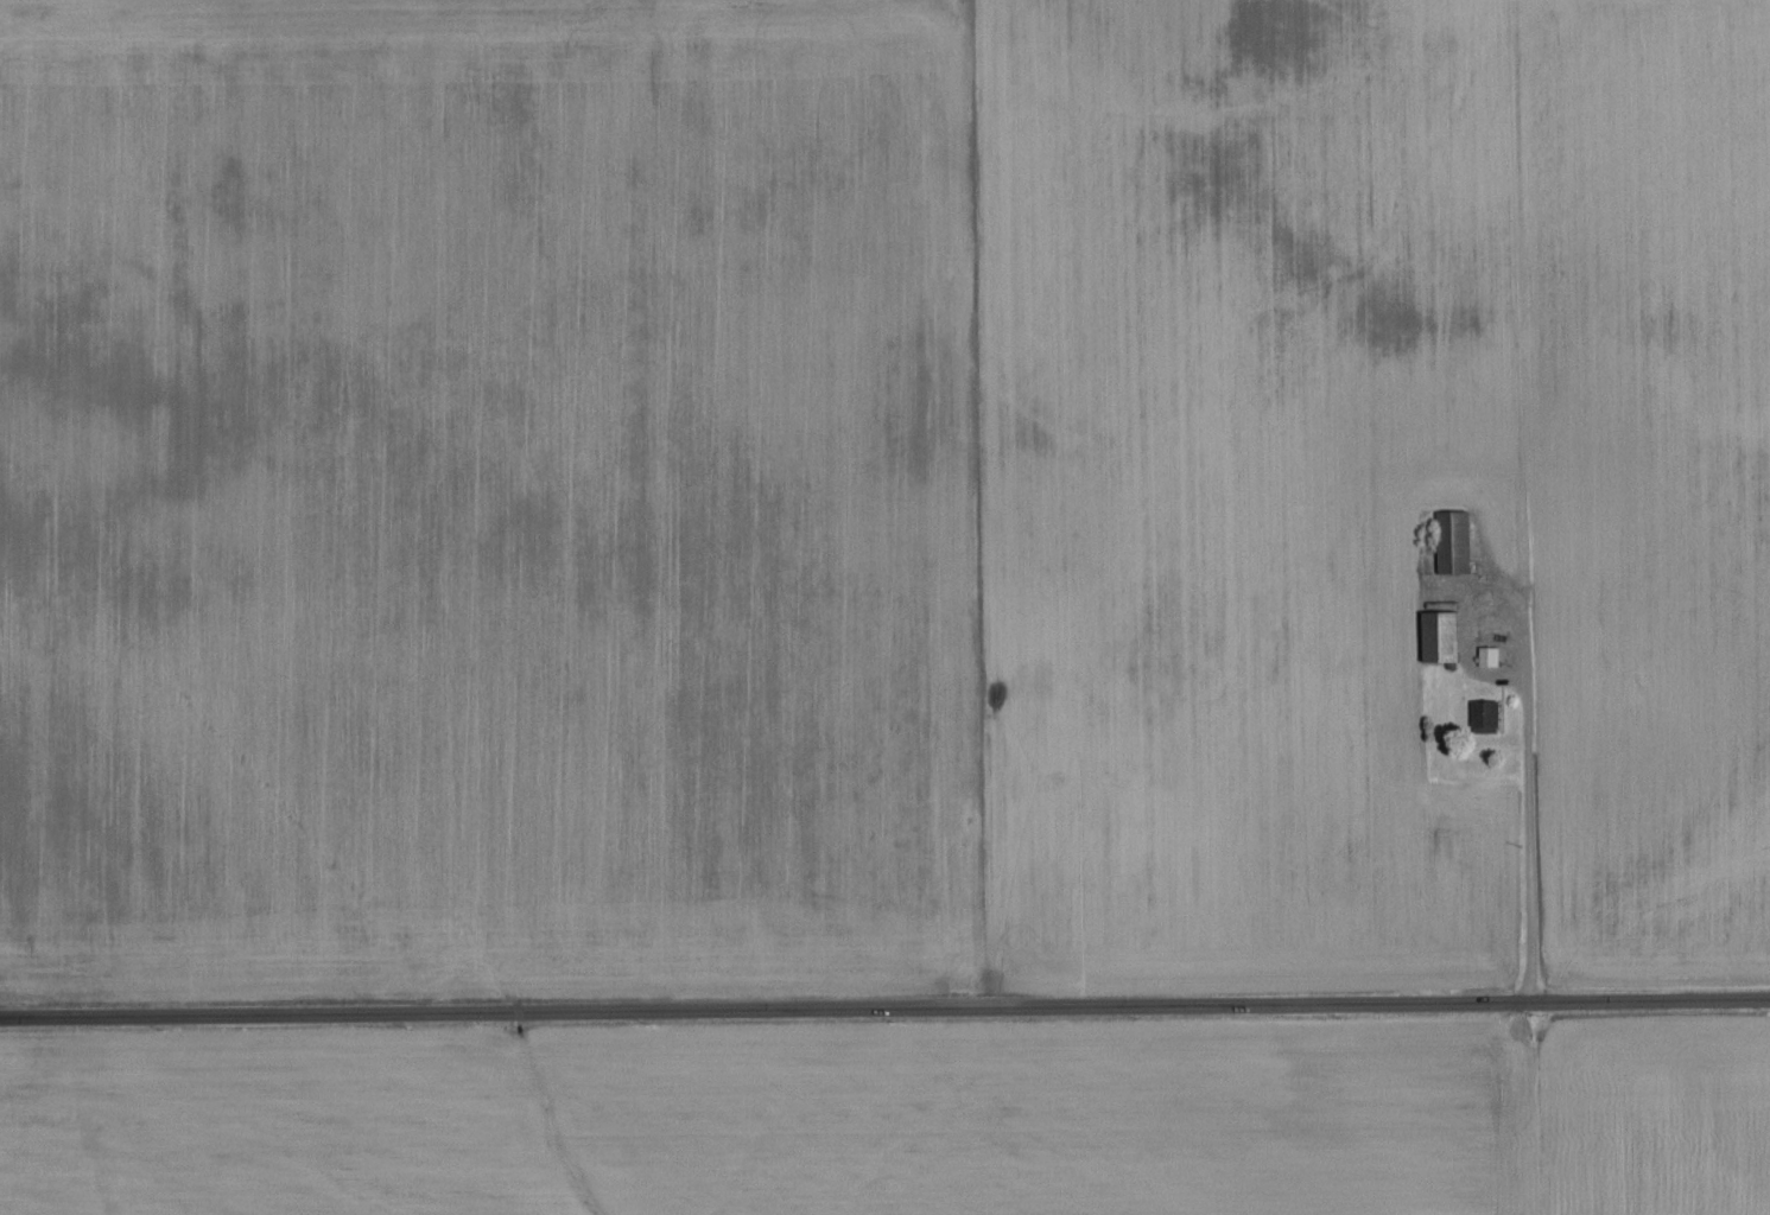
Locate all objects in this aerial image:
building: (1458, 539)
building: (1447, 634)
building: (1493, 654)
building: (1489, 712)
road: (1528, 778)
road: (884, 1012)

